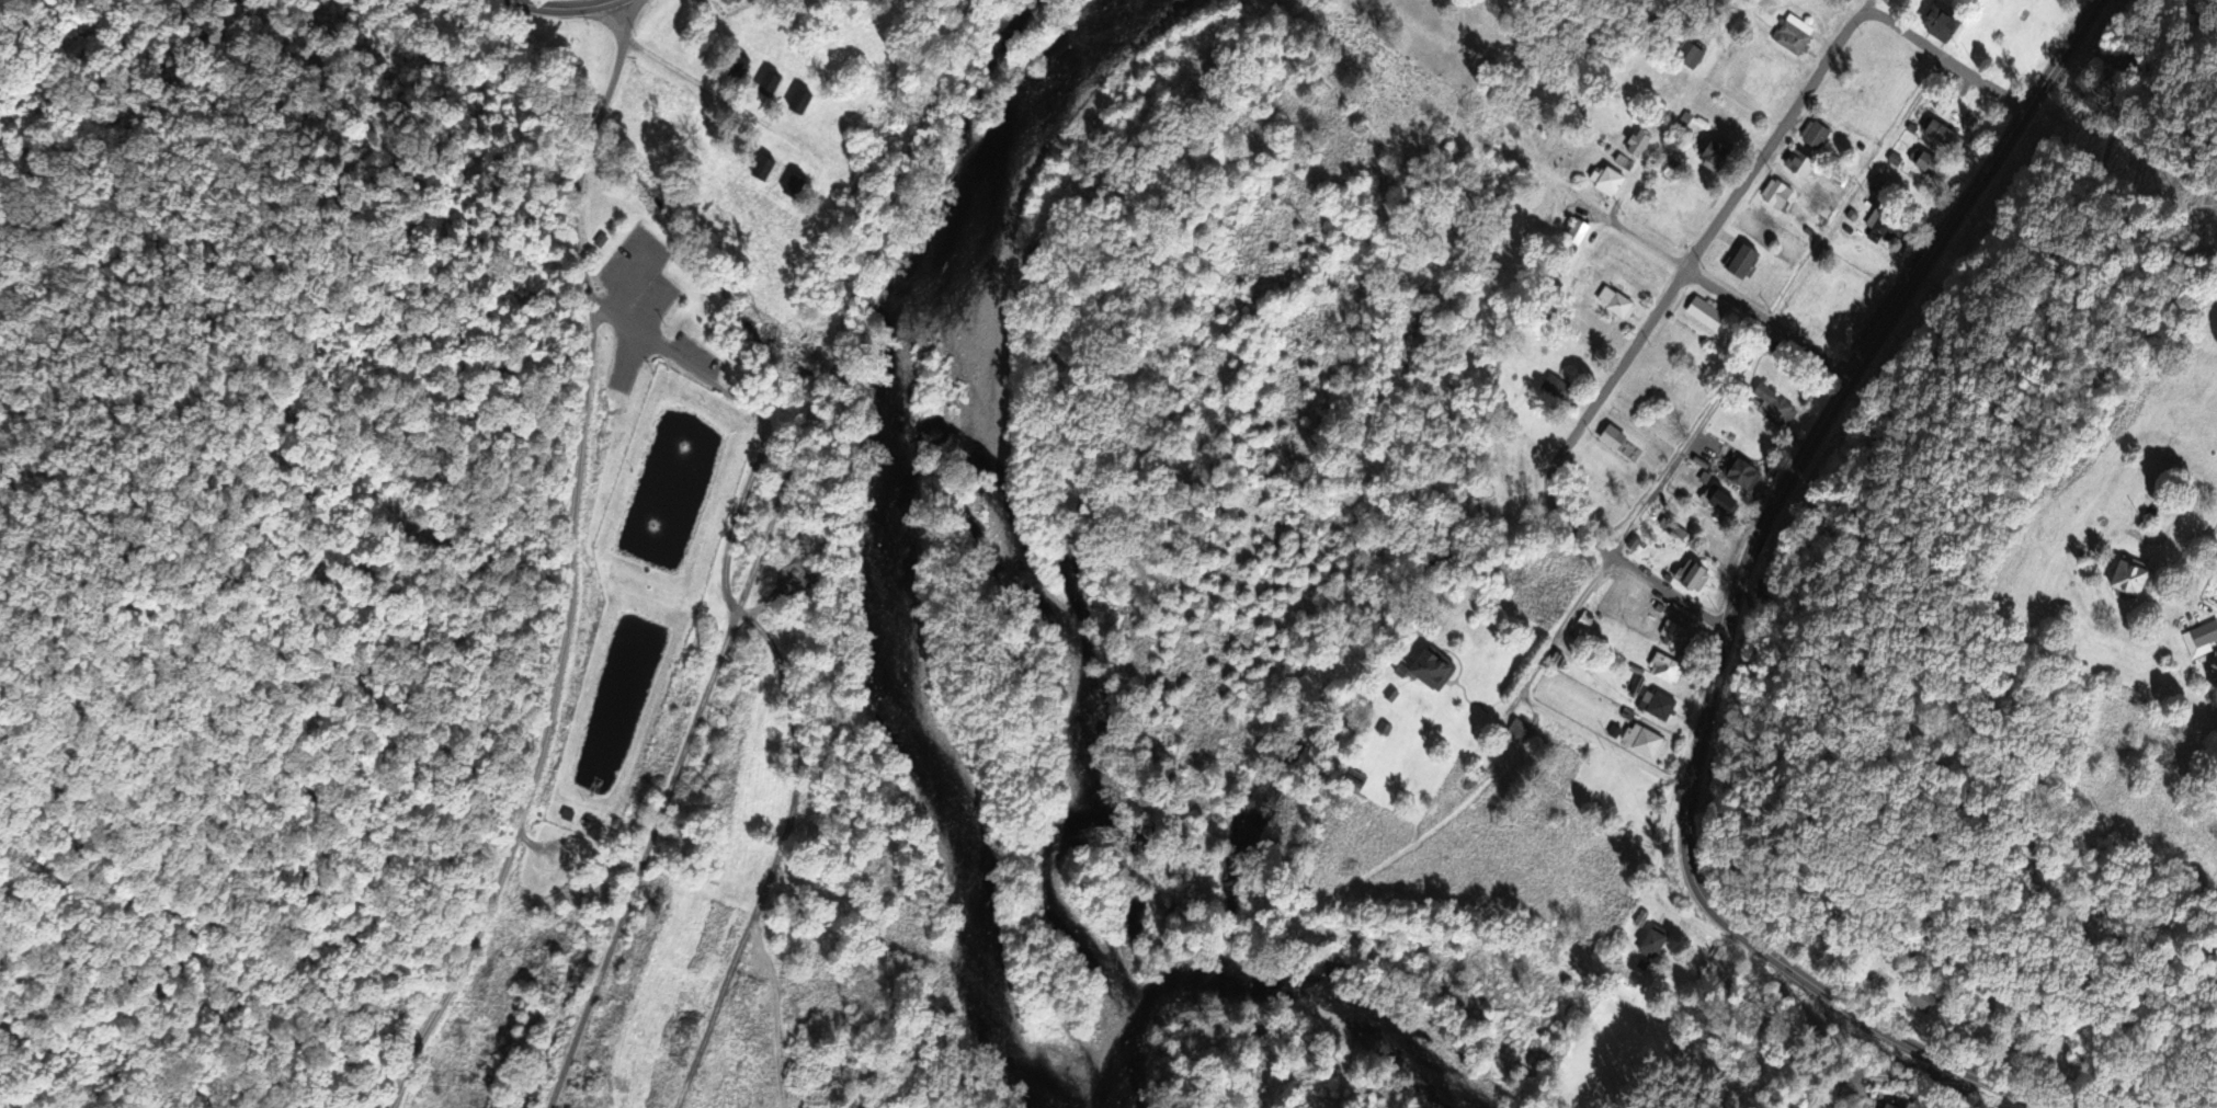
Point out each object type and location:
road: (573, 3)
building: (1944, 20)
building: (1795, 35)
building: (1691, 55)
road: (1946, 60)
park: (1863, 76)
building: (772, 82)
building: (804, 100)
road: (732, 103)
road: (1667, 127)
building: (1817, 134)
building: (1942, 135)
building: (1632, 136)
road: (1773, 140)
road: (585, 142)
building: (1717, 153)
building: (1623, 161)
building: (1798, 162)
building: (1925, 162)
building: (766, 167)
building: (1671, 169)
building: (1611, 181)
building: (796, 185)
building: (1777, 196)
building: (1887, 222)
building: (1577, 232)
building: (1744, 262)
building: (1855, 287)
road: (1728, 299)
building: (1615, 301)
building: (1706, 313)
road: (844, 316)
parking lot: (636, 320)
road: (1730, 378)
building: (1556, 387)
building: (1771, 404)
road: (1584, 420)
building: (1686, 467)
building: (1742, 472)
building: (1724, 503)
river: (886, 542)
building: (1634, 542)
building: (1693, 575)
building: (2134, 575)
building: (1770, 591)
road: (1667, 594)
road: (1735, 594)
road: (728, 621)
building: (2204, 633)
building: (1675, 635)
road: (768, 644)
building: (1665, 667)
building: (1434, 671)
building: (1661, 706)
road: (542, 712)
building: (1519, 731)
building: (1646, 742)
road: (1601, 744)
road: (640, 872)
building: (1656, 943)
building: (1922, 1000)
building: (1889, 1106)

